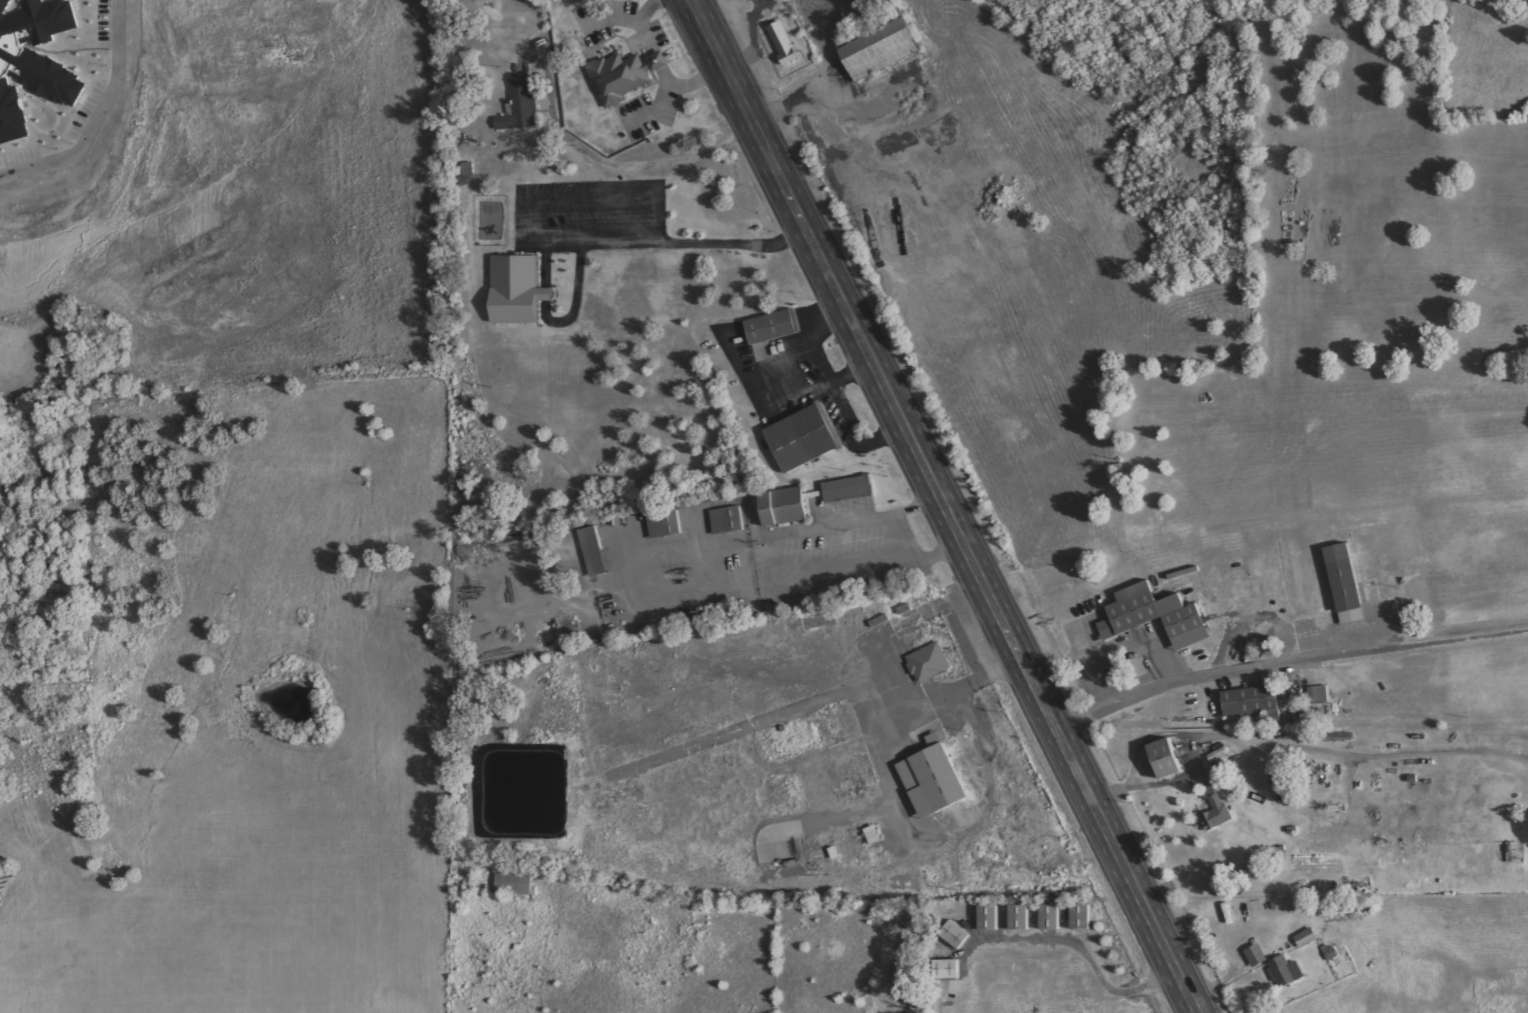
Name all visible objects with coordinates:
building: (784, 43)
building: (880, 49)
building: (33, 60)
building: (618, 77)
building: (520, 104)
road: (100, 118)
road: (627, 167)
building: (468, 173)
building: (518, 289)
building: (773, 327)
building: (762, 352)
building: (804, 439)
building: (848, 489)
road: (944, 505)
building: (784, 507)
building: (727, 521)
building: (665, 524)
road: (896, 537)
building: (593, 552)
road: (769, 566)
building: (1346, 584)
building: (1161, 626)
building: (929, 662)
road: (1288, 668)
building: (1319, 696)
building: (1260, 711)
building: (1168, 759)
building: (934, 779)
building: (1208, 792)
building: (1217, 814)
building: (514, 883)
building: (1051, 916)
building: (1082, 916)
building: (989, 917)
building: (1020, 917)
building: (956, 934)
building: (1306, 937)
building: (1256, 955)
building: (947, 969)
building: (1285, 971)

